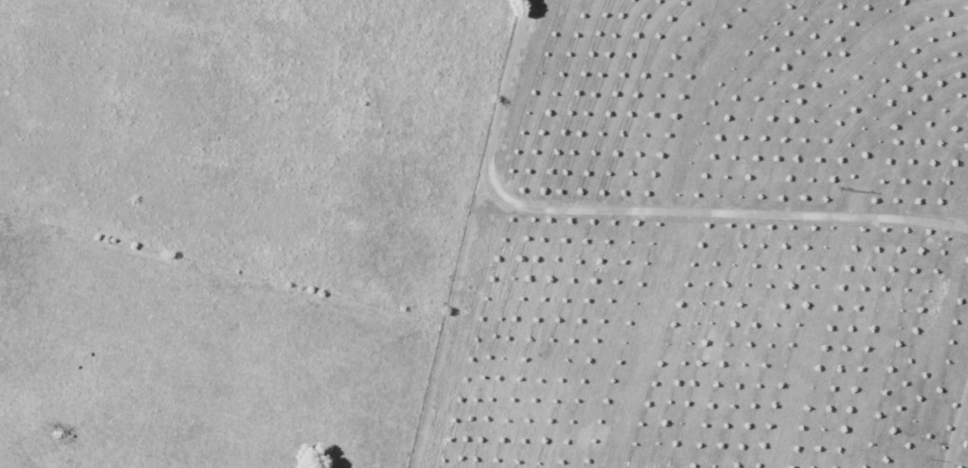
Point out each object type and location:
road: (630, 213)
road: (957, 430)

